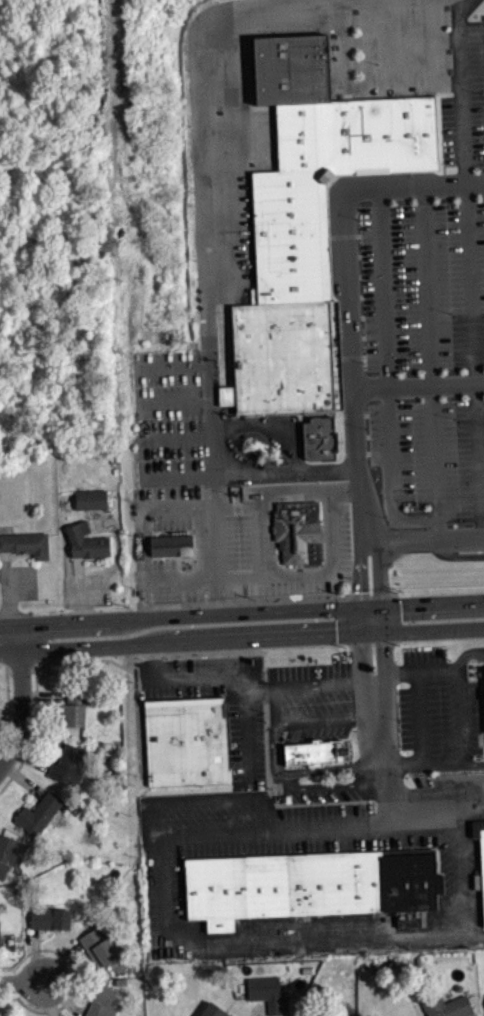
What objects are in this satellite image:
road: (338, 1)
road: (462, 5)
road: (397, 41)
parking lot: (403, 53)
road: (74, 86)
road: (355, 88)
road: (4, 151)
road: (18, 161)
road: (129, 188)
road: (212, 195)
building: (309, 218)
road: (343, 221)
road: (468, 276)
road: (426, 285)
road: (57, 287)
parking lot: (423, 287)
road: (386, 371)
road: (457, 384)
road: (391, 386)
building: (316, 445)
road: (144, 449)
parking lot: (431, 461)
road: (434, 464)
road: (214, 473)
road: (288, 489)
road: (363, 497)
building: (91, 498)
road: (177, 507)
road: (328, 515)
road: (257, 518)
building: (299, 533)
building: (86, 541)
road: (460, 542)
building: (25, 543)
road: (143, 543)
building: (171, 545)
road: (403, 546)
parking lot: (237, 550)
road: (273, 576)
road: (155, 578)
road: (172, 578)
road: (427, 604)
traffic signals: (370, 606)
road: (248, 610)
road: (370, 618)
road: (71, 621)
road: (427, 629)
traffic signals: (371, 631)
road: (276, 634)
road: (9, 637)
road: (99, 644)
road: (431, 668)
road: (227, 680)
road: (311, 685)
parking lot: (311, 703)
road: (21, 704)
building: (74, 709)
parking lot: (439, 712)
road: (420, 717)
road: (380, 728)
parking lot: (247, 741)
building: (185, 742)
road: (460, 752)
building: (314, 753)
road: (277, 754)
road: (472, 762)
building: (67, 763)
road: (204, 803)
building: (39, 813)
road: (320, 830)
parking lot: (283, 851)
building: (10, 853)
road: (461, 869)
building: (482, 884)
building: (310, 889)
building: (50, 918)
road: (274, 941)
building: (0, 942)
building: (99, 946)
road: (22, 981)
building: (268, 994)
building: (101, 1002)
building: (447, 1006)
building: (213, 1010)
building: (312, 1014)

